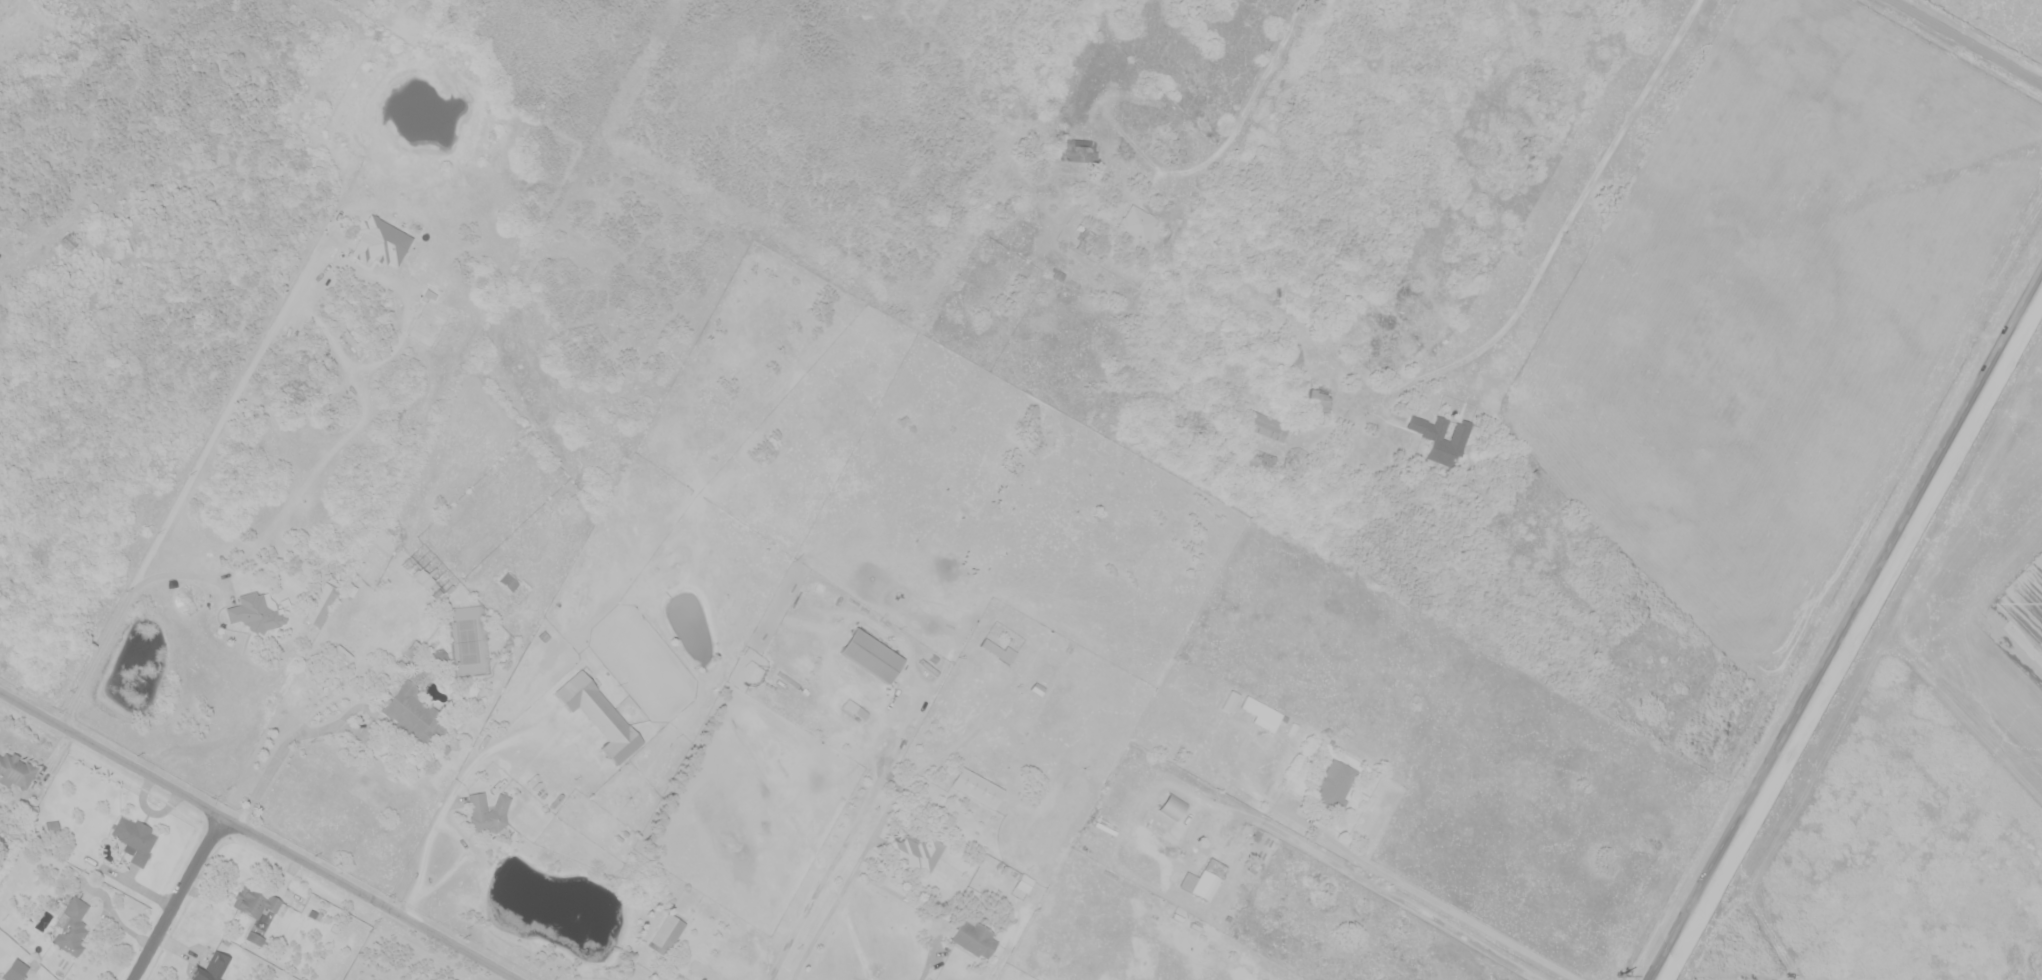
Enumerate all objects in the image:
road: (1959, 47)
road: (1016, 98)
building: (1079, 150)
building: (1136, 224)
building: (1086, 240)
building: (380, 242)
building: (69, 243)
building: (1291, 355)
building: (1321, 394)
building: (1442, 438)
building: (1239, 444)
road: (192, 476)
road: (180, 574)
building: (429, 577)
building: (509, 581)
building: (322, 604)
building: (255, 614)
road: (1844, 625)
building: (995, 648)
building: (872, 655)
building: (1036, 689)
building: (1231, 700)
building: (854, 709)
building: (1262, 713)
building: (414, 715)
building: (599, 715)
road: (277, 756)
airport: (1918, 756)
building: (16, 771)
building: (1335, 786)
building: (977, 788)
building: (488, 812)
building: (1167, 815)
building: (1204, 824)
building: (50, 825)
road: (257, 836)
building: (134, 839)
building: (916, 852)
road: (836, 860)
building: (1025, 883)
building: (1200, 884)
road: (178, 899)
road: (837, 901)
building: (256, 903)
building: (71, 927)
building: (667, 935)
building: (253, 938)
building: (976, 939)
road: (935, 953)
building: (210, 968)
building: (14, 970)

